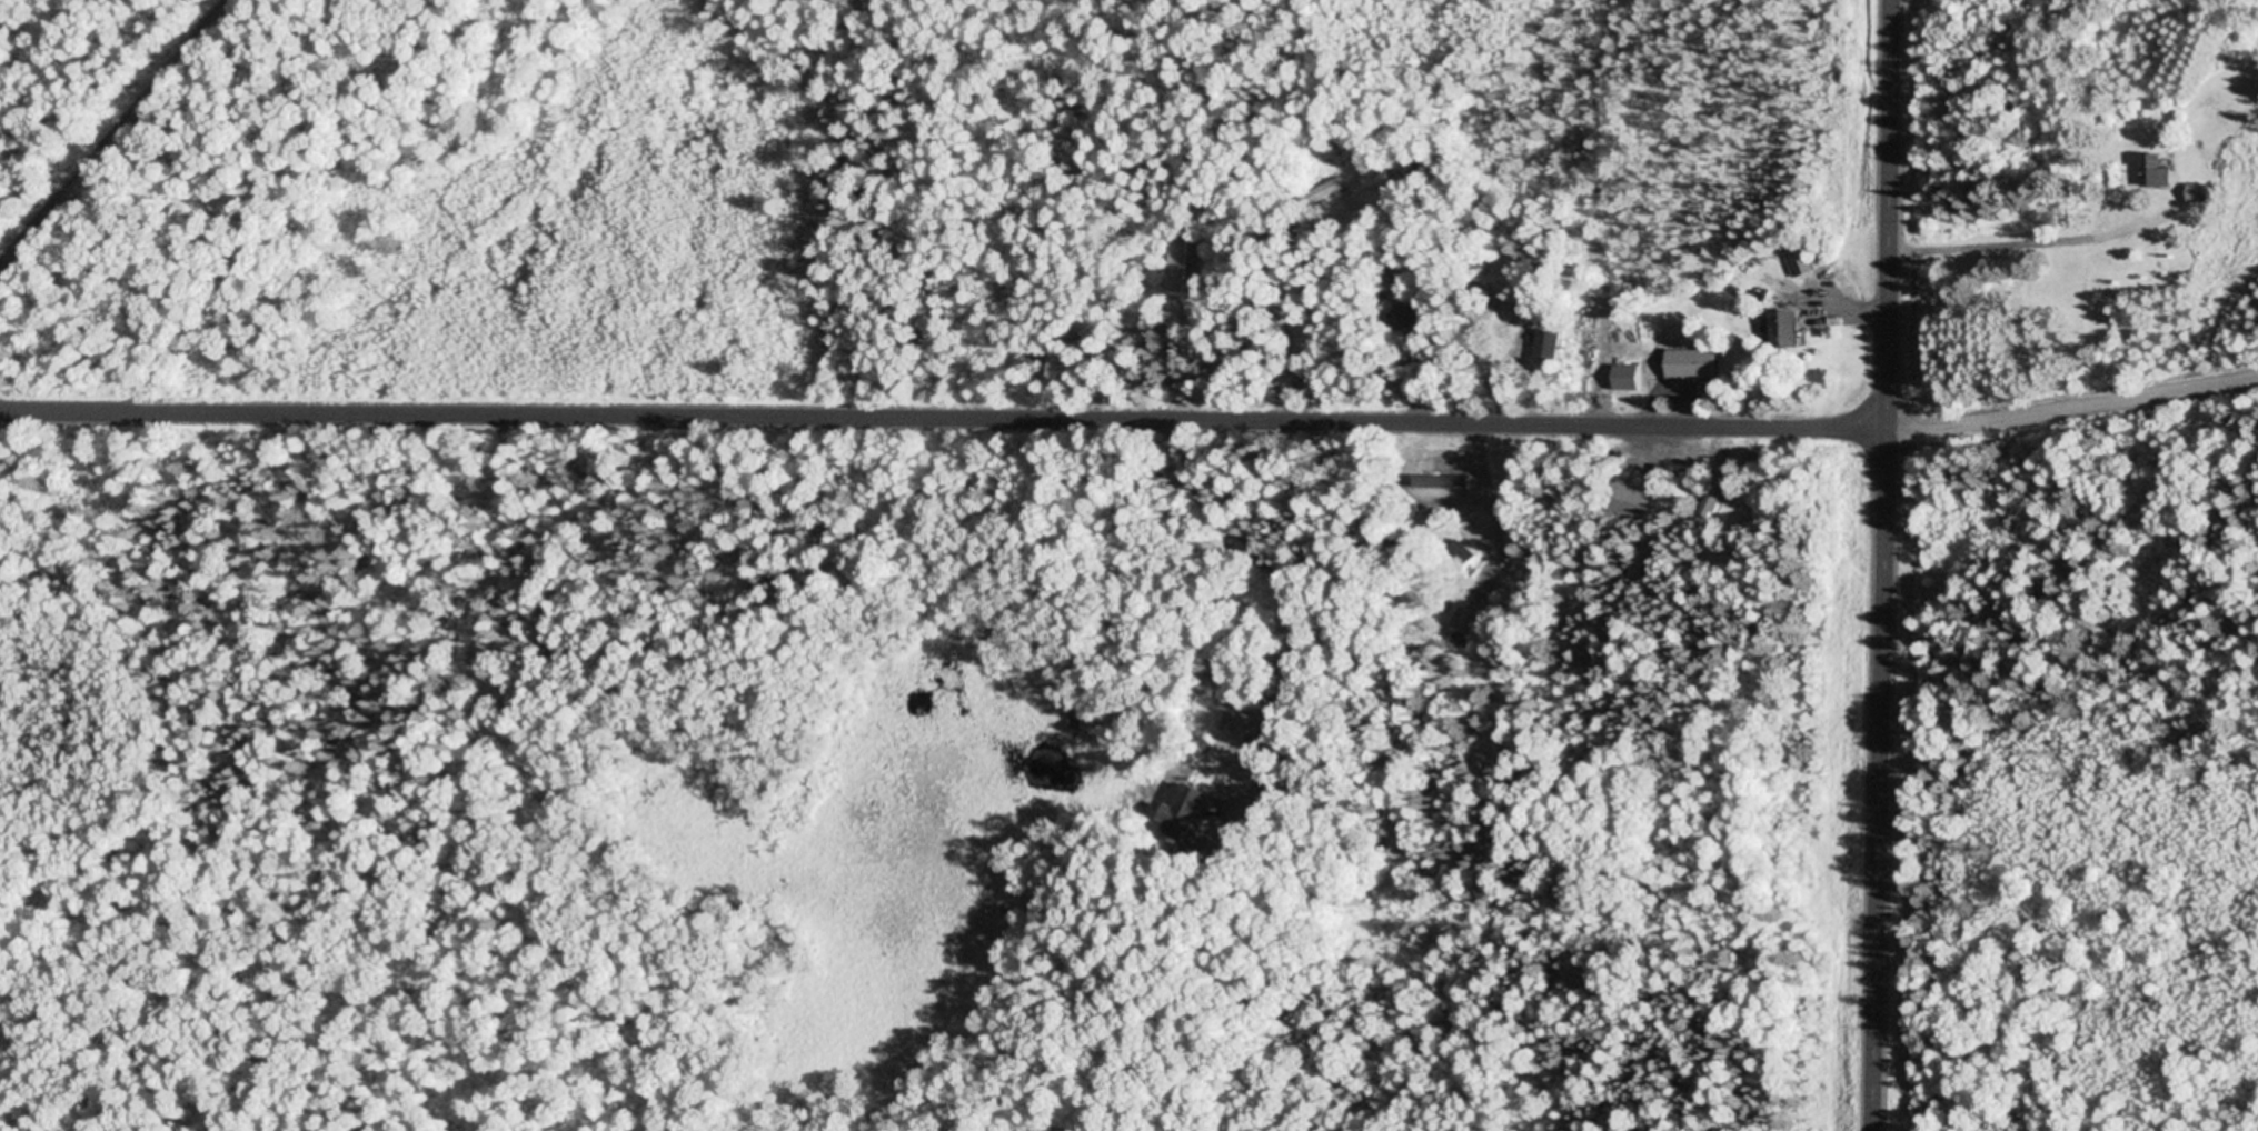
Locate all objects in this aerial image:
road: (116, 139)
building: (2167, 169)
building: (1373, 179)
building: (2201, 192)
road: (1889, 218)
building: (1800, 263)
building: (1190, 264)
building: (1792, 328)
building: (1549, 343)
building: (1697, 364)
building: (1631, 377)
road: (2072, 411)
road: (943, 419)
road: (1887, 783)

